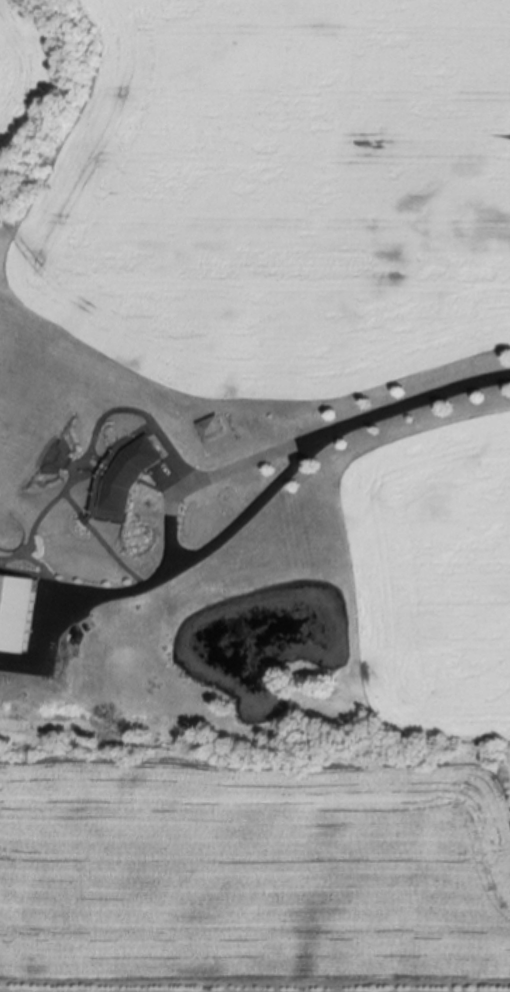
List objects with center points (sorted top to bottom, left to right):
road: (425, 399)
building: (216, 429)
building: (134, 475)
road: (173, 542)
building: (18, 614)
building: (84, 653)

